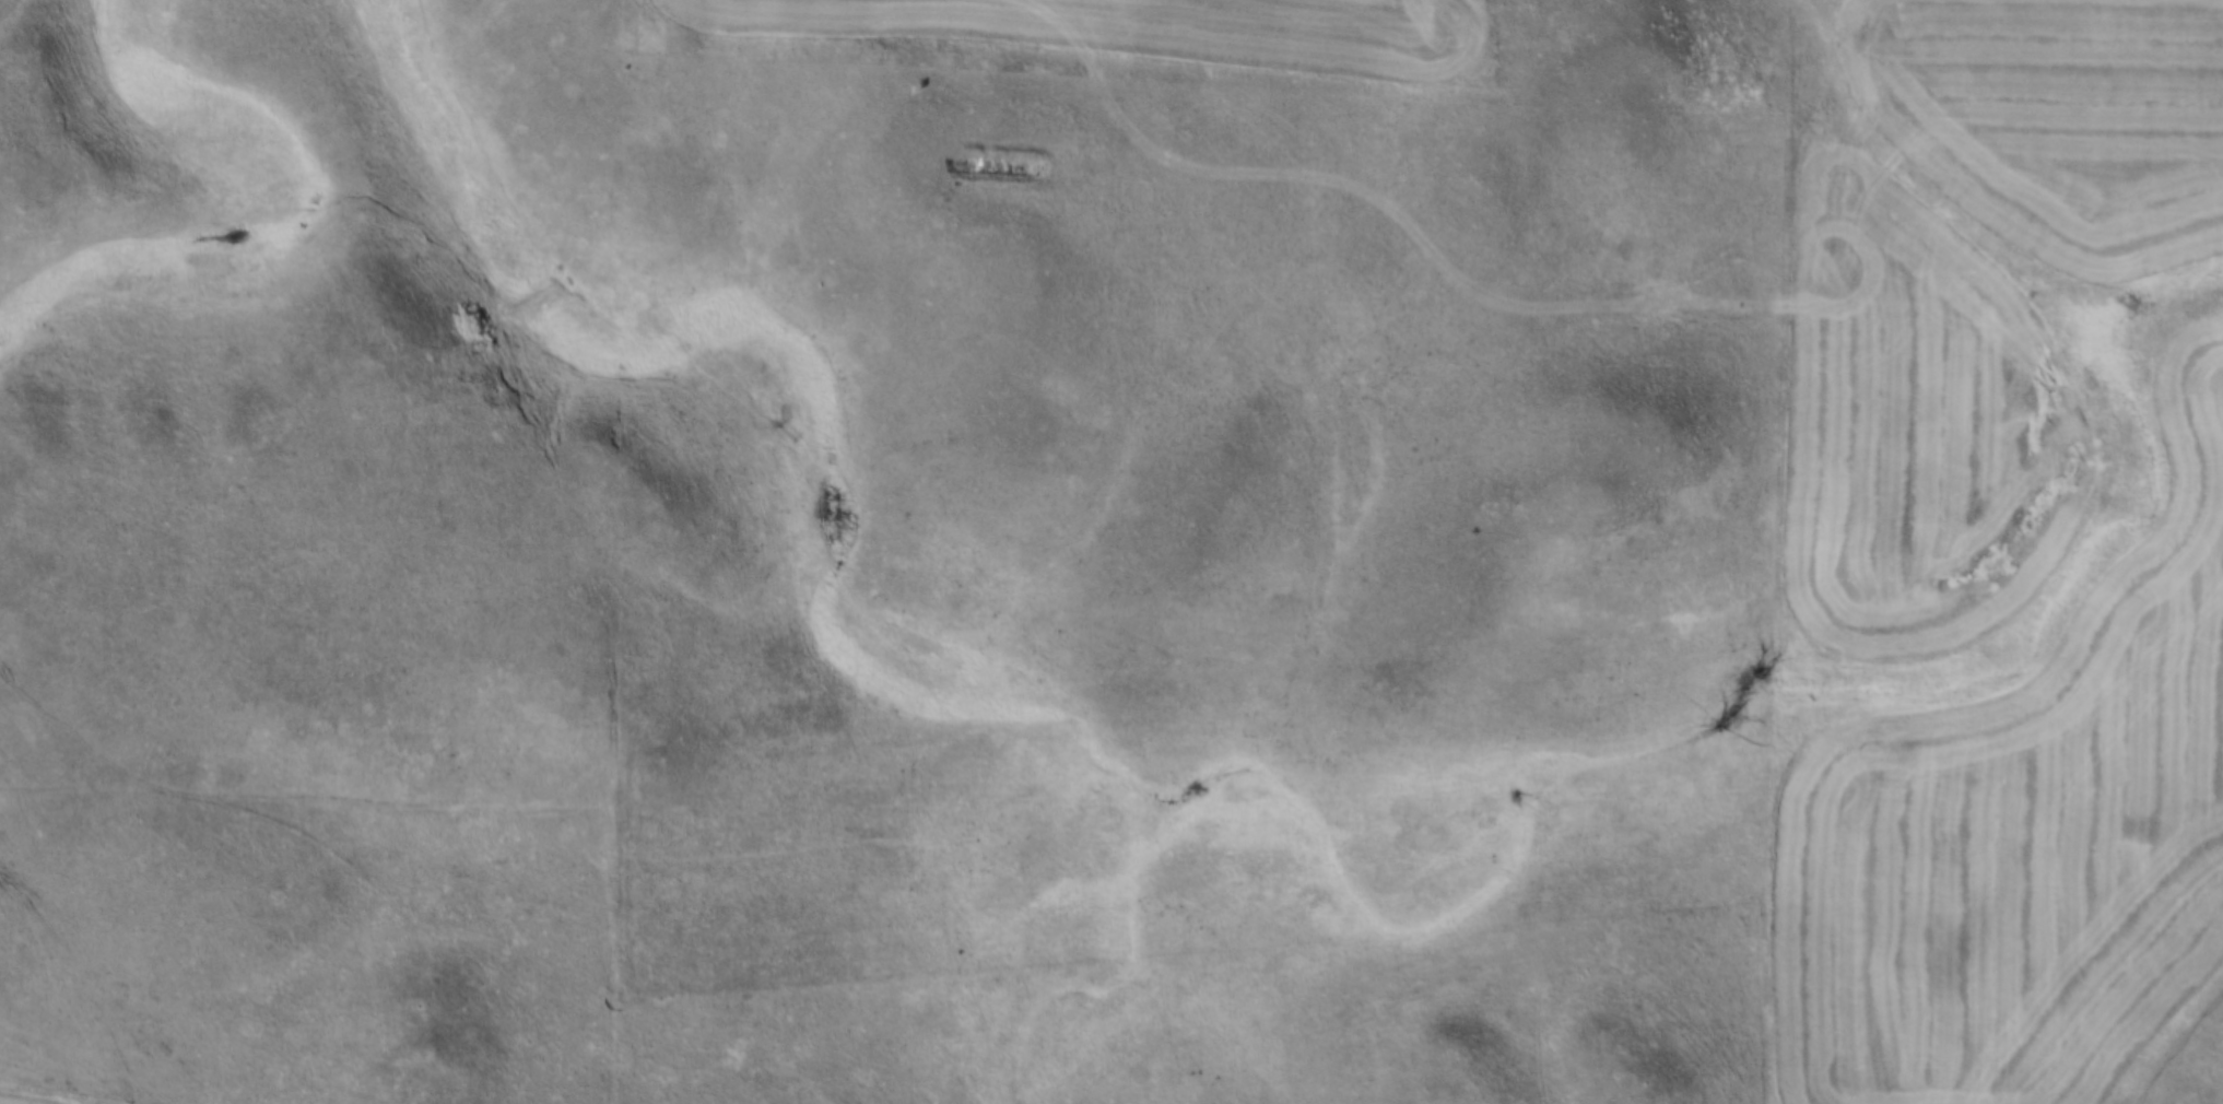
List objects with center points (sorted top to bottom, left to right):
road: (687, 240)
road: (2176, 1046)
road: (90, 1058)

